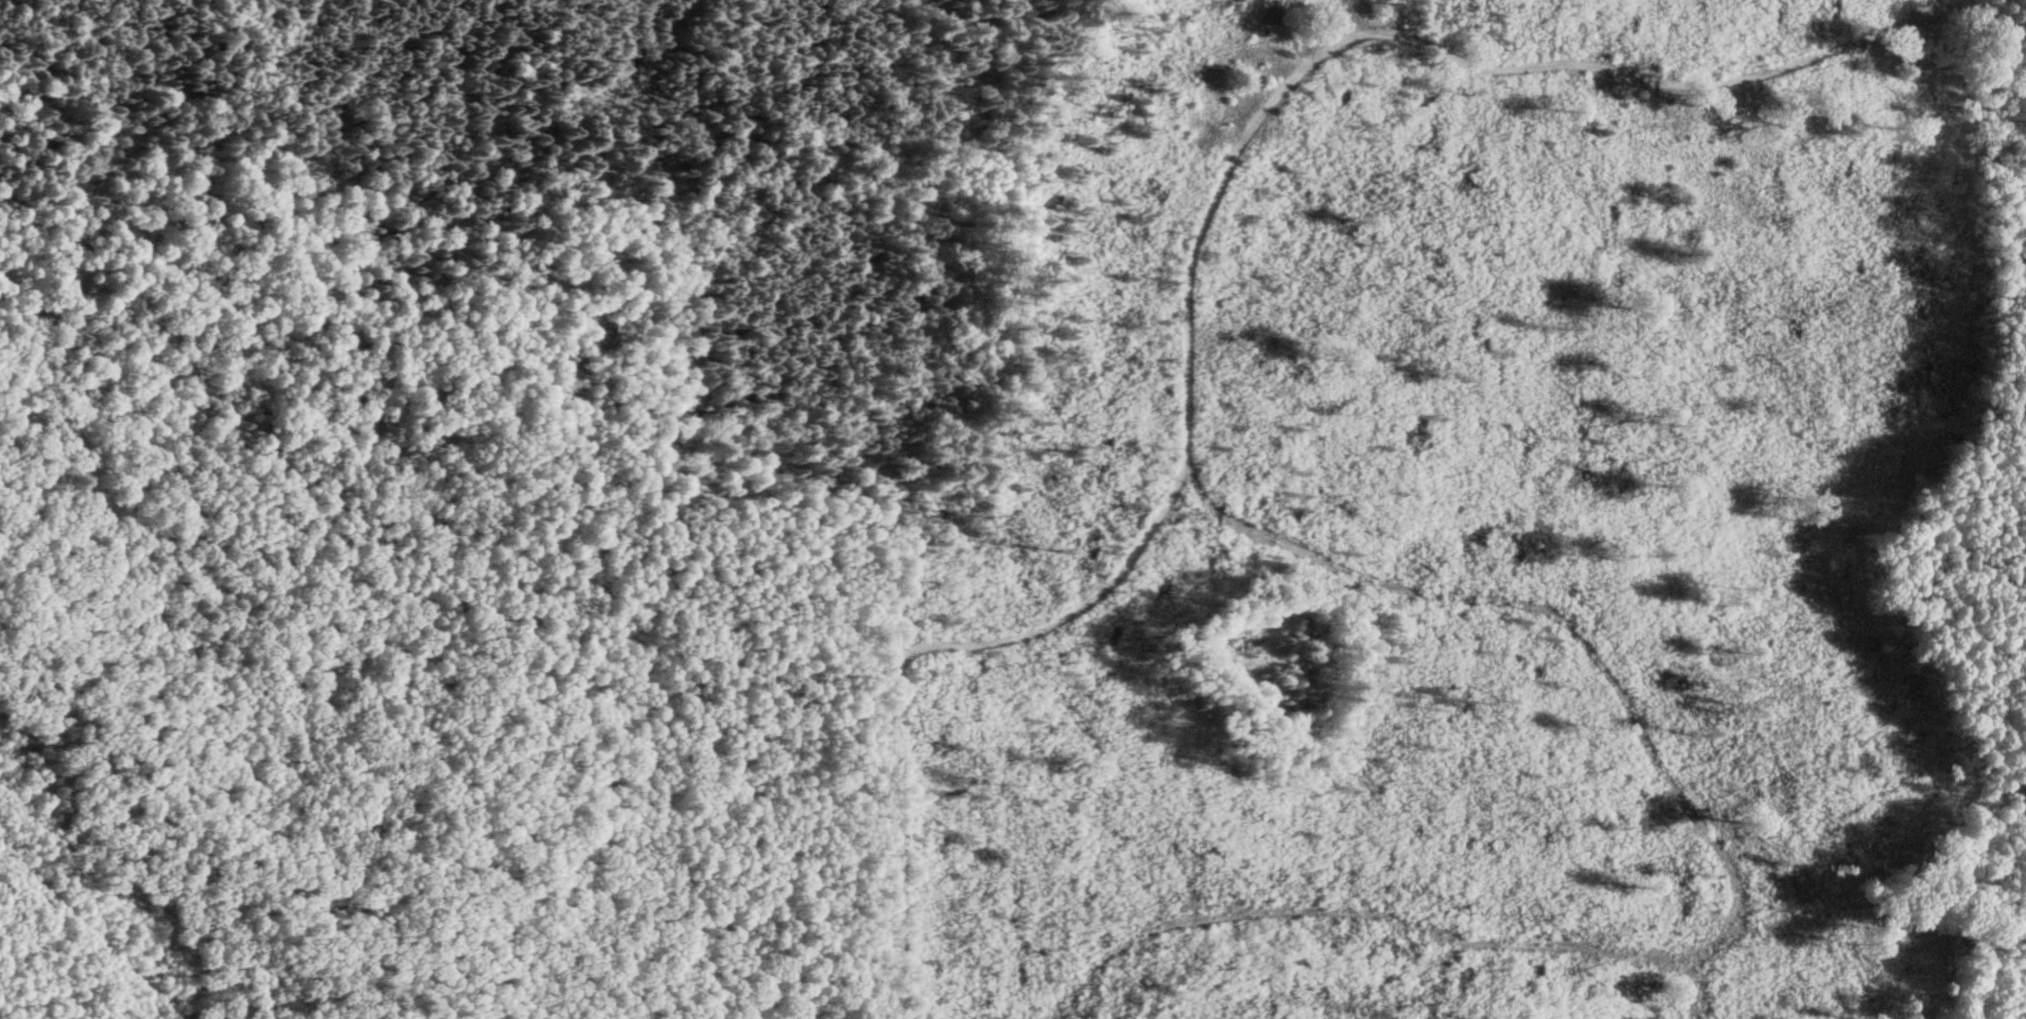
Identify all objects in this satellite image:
road: (1252, 135)
road: (583, 630)

